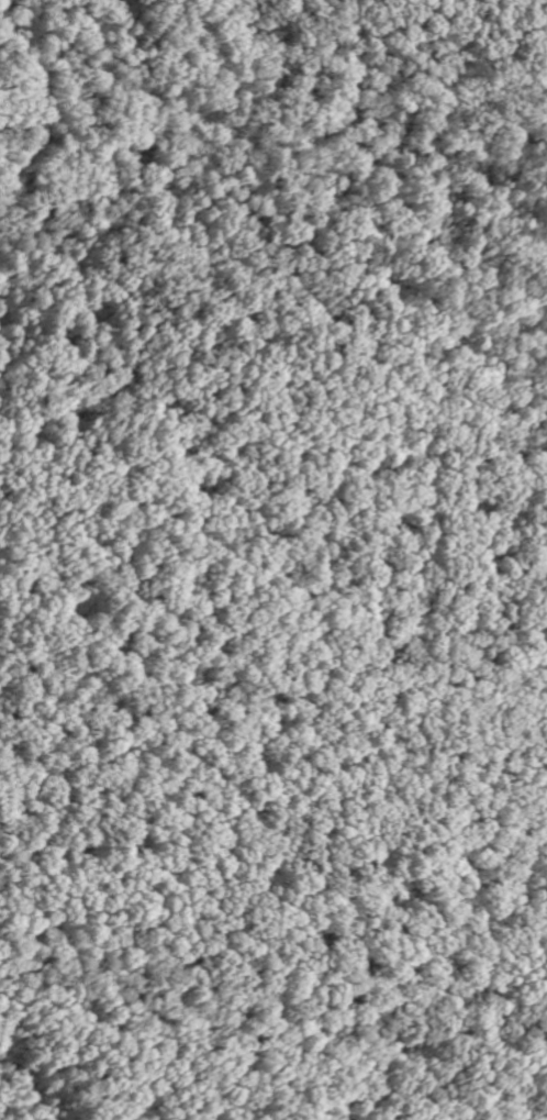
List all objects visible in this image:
road: (4, 2)

